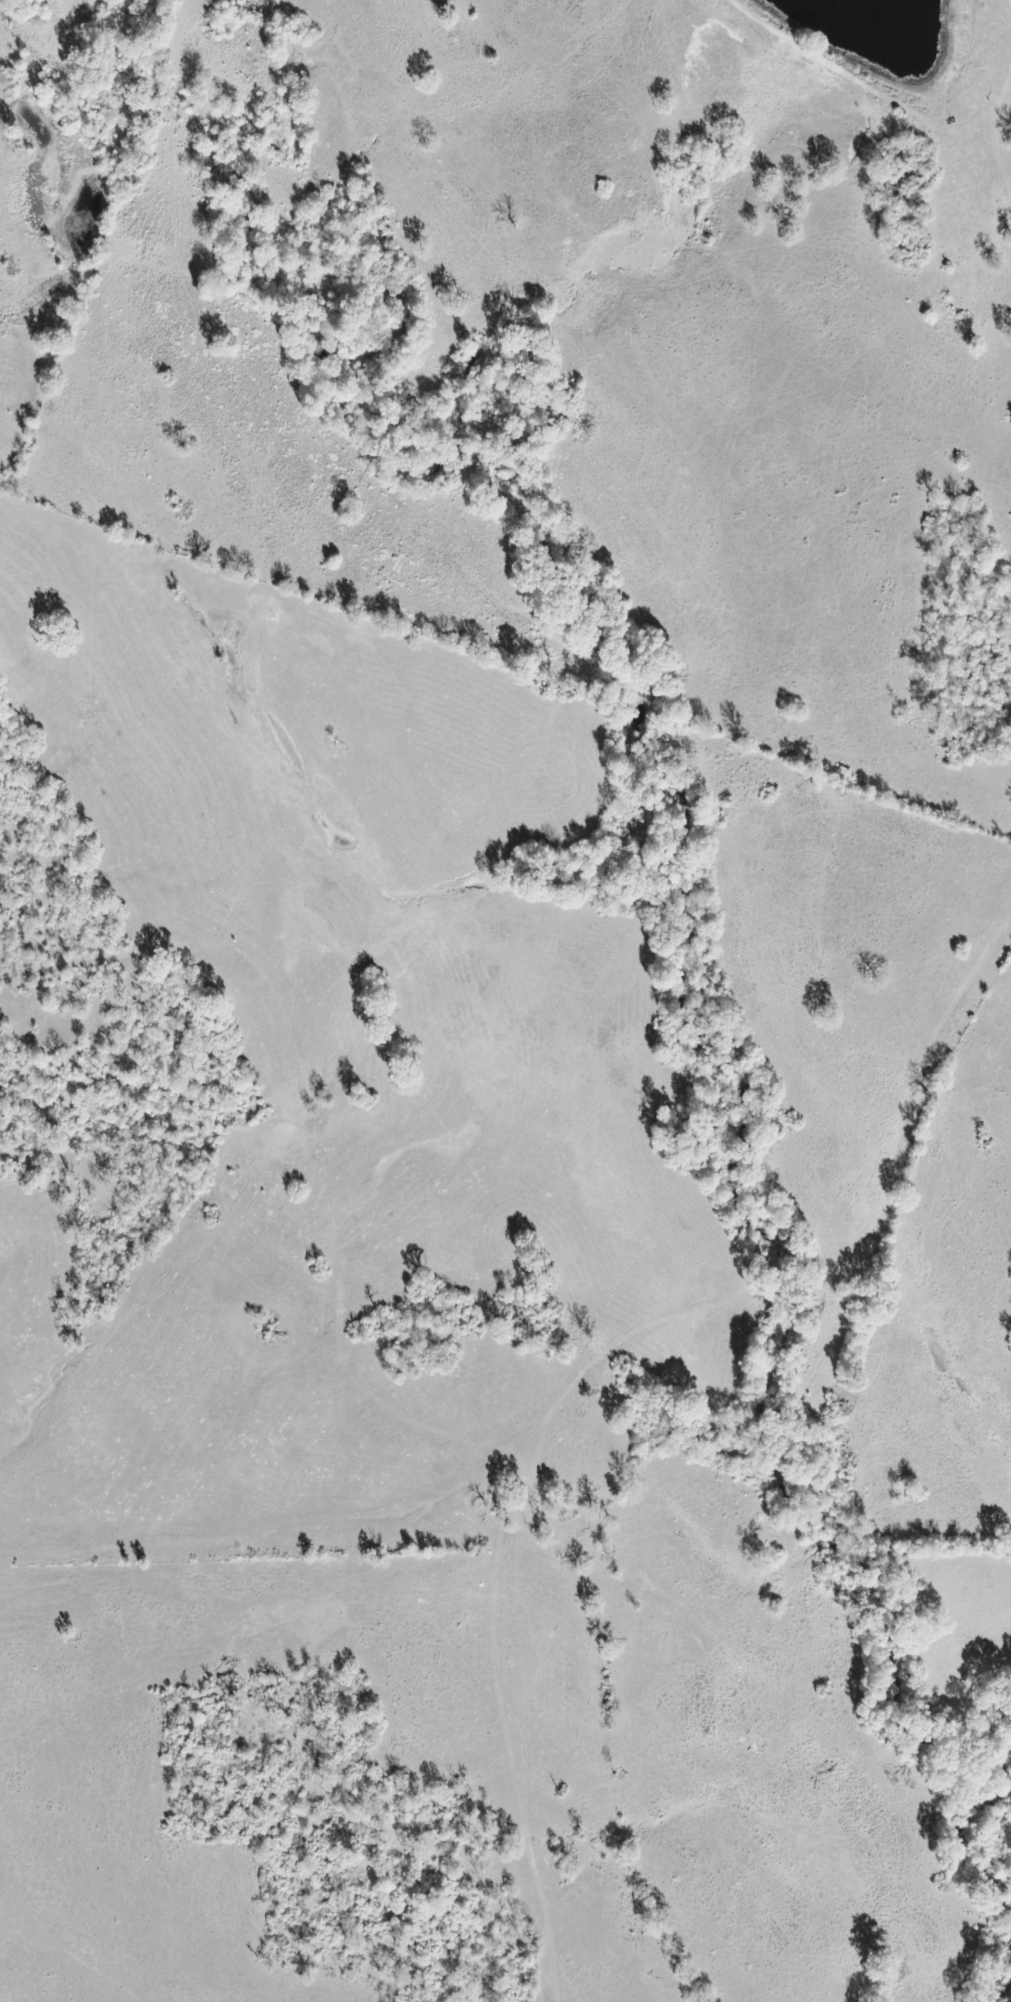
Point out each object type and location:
dam: (822, 51)

